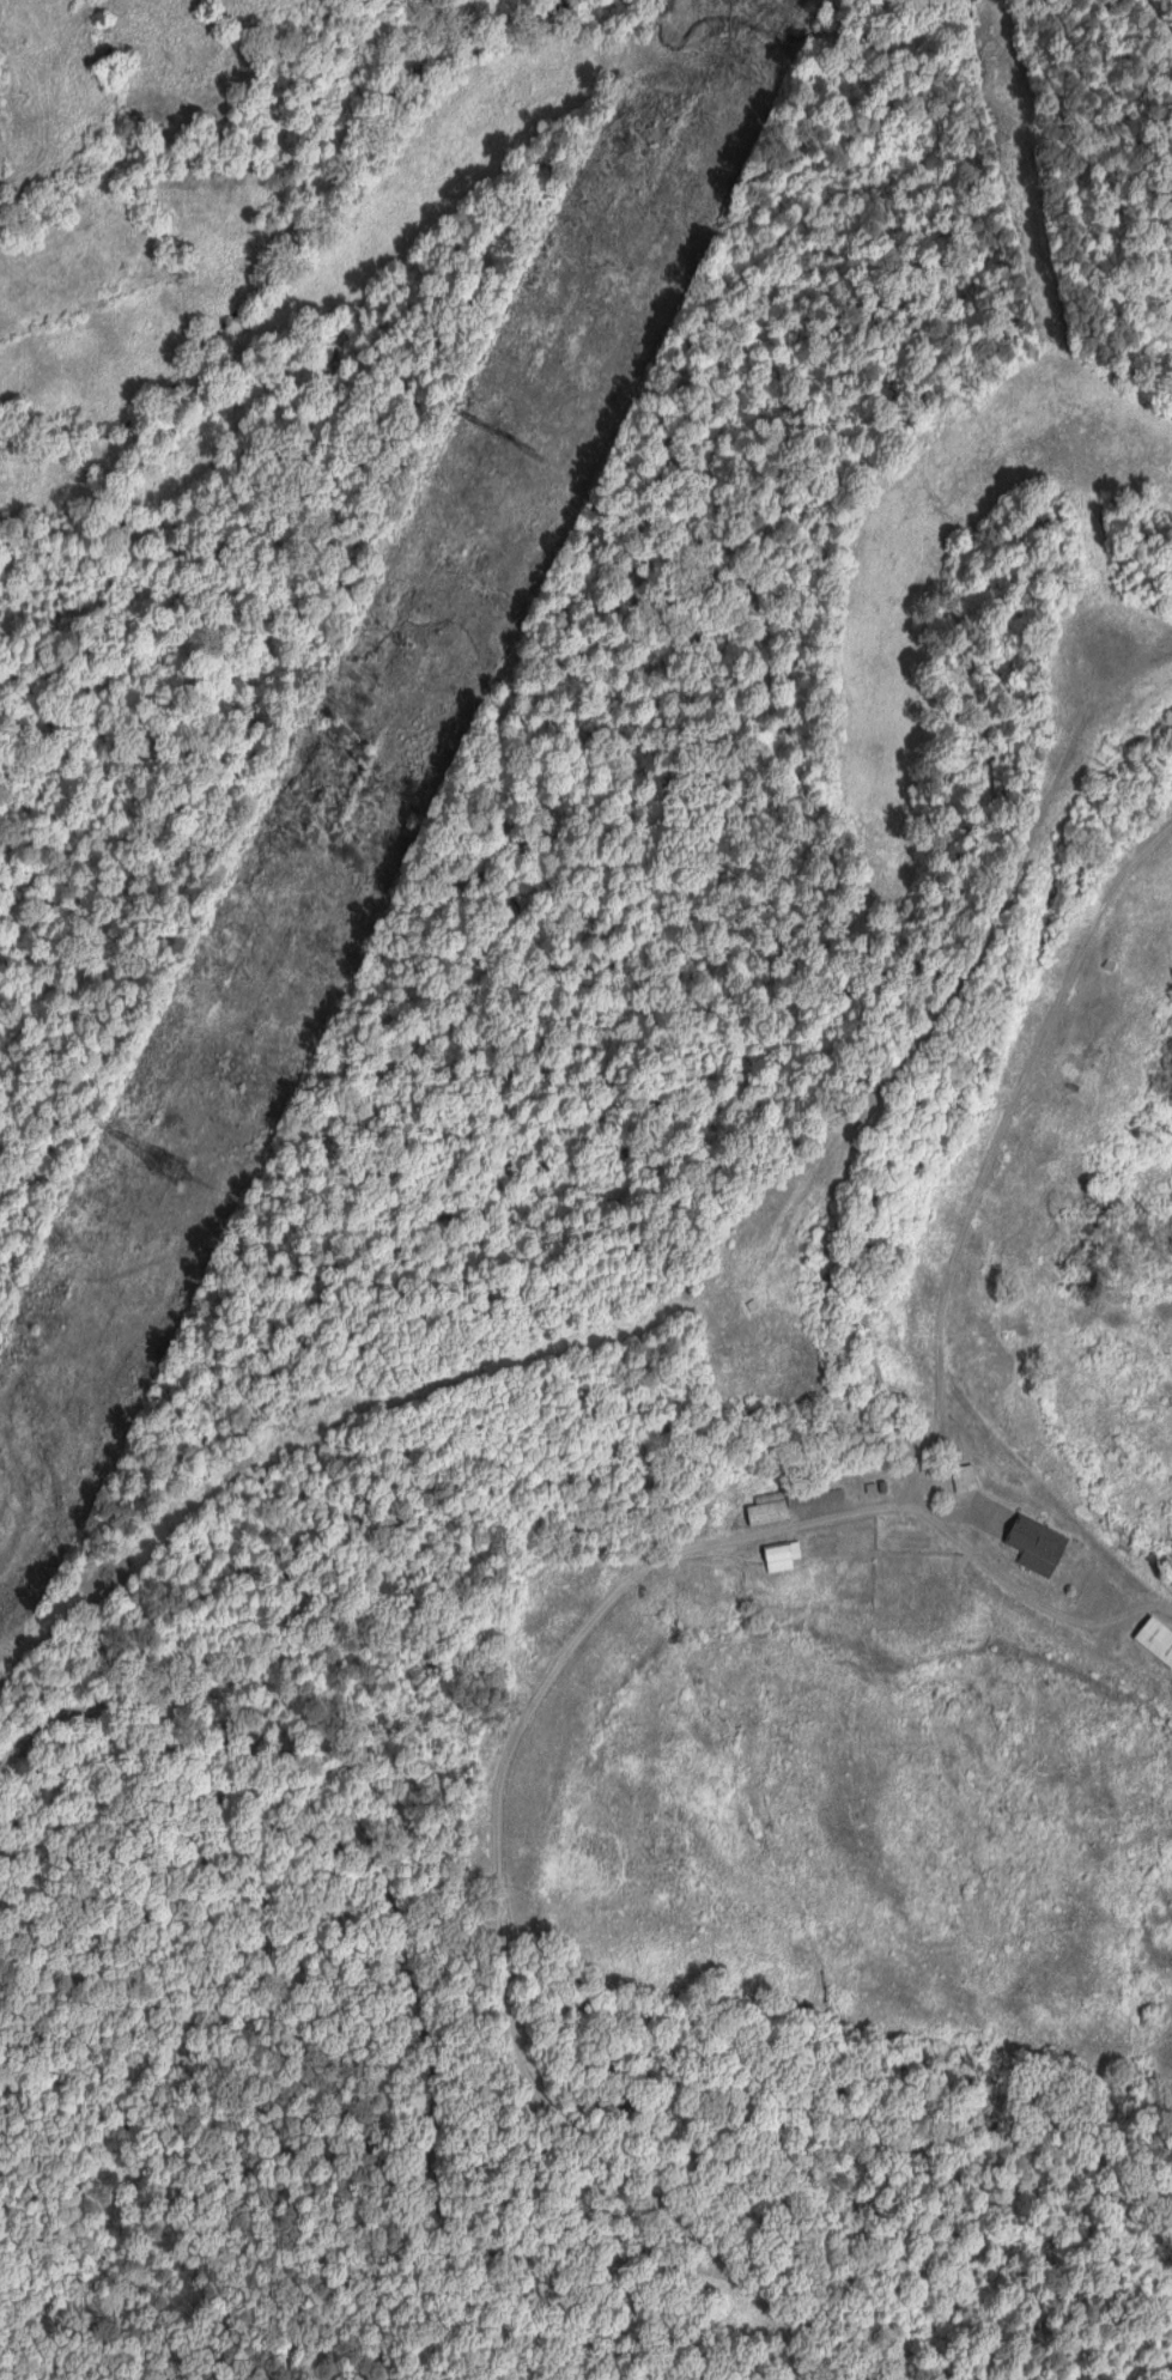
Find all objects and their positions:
power tower: (516, 447)
road: (997, 1155)
power tower: (163, 1167)
building: (965, 1477)
building: (784, 1504)
building: (1043, 1547)
building: (782, 1555)
building: (1158, 1639)
road: (518, 1719)

